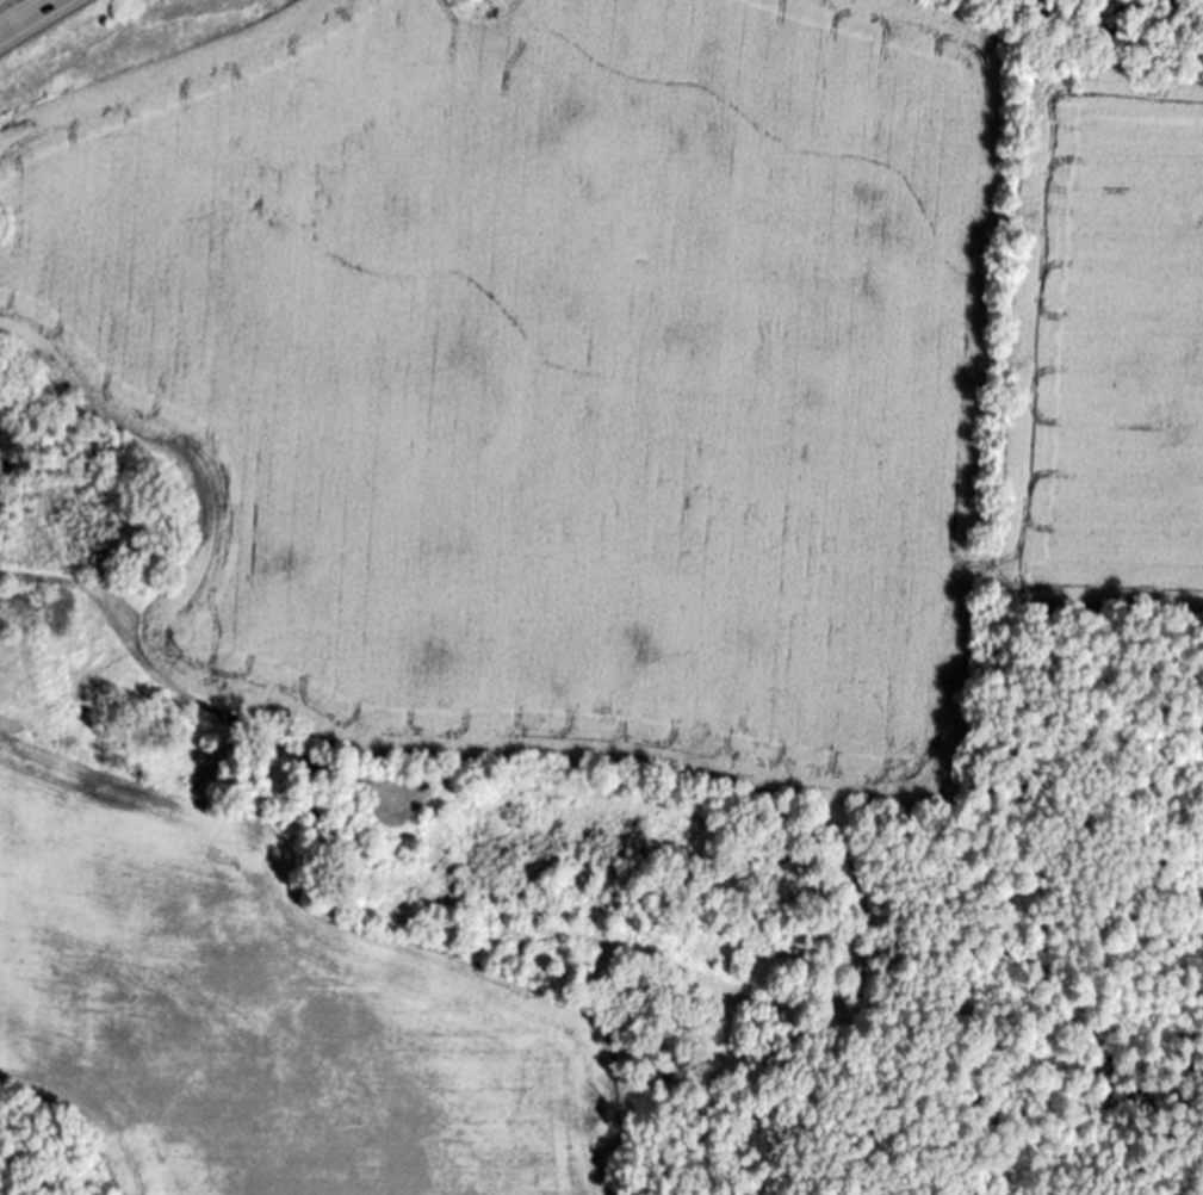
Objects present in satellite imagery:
road: (35, 19)

